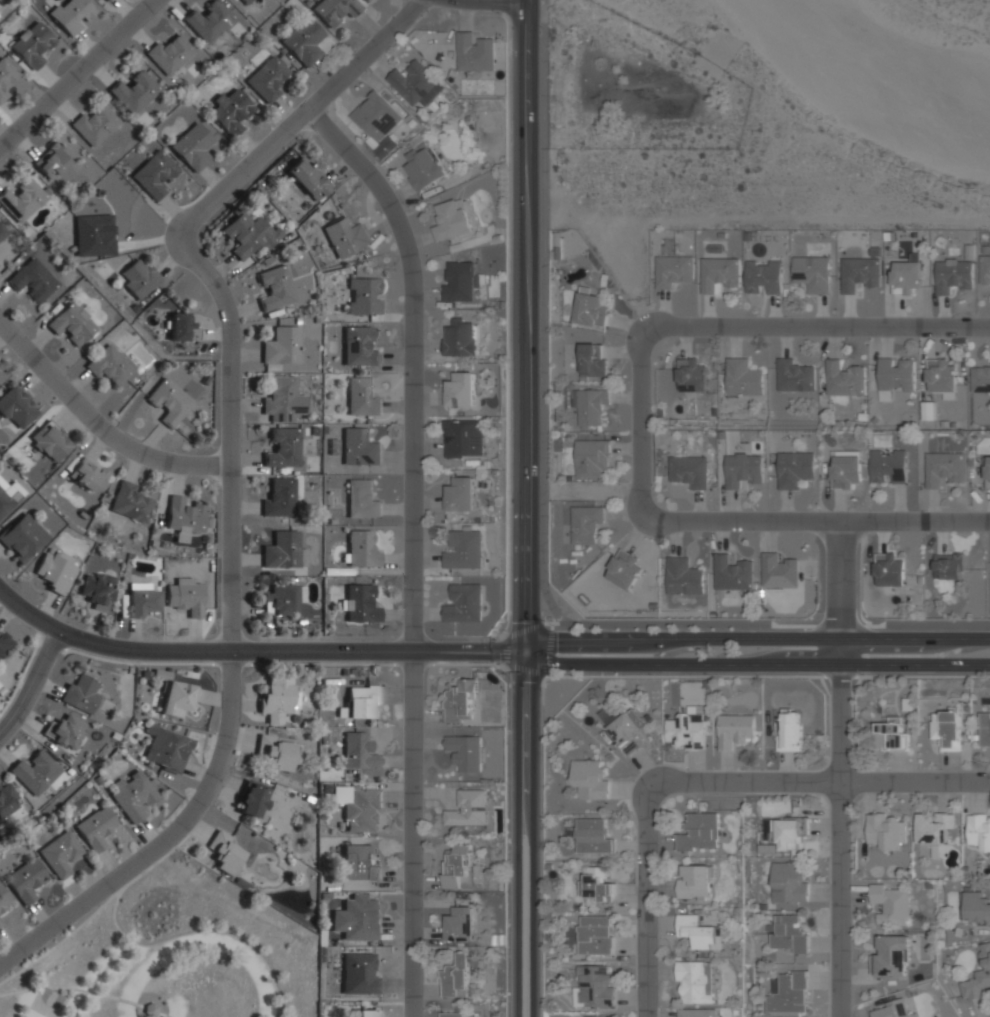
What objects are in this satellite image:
building: (107, 0)
building: (245, 2)
building: (334, 9)
building: (72, 15)
building: (208, 20)
building: (304, 41)
building: (32, 44)
building: (474, 53)
building: (169, 54)
river: (878, 58)
building: (6, 76)
road: (80, 77)
building: (268, 77)
building: (415, 84)
building: (134, 91)
building: (231, 111)
building: (377, 121)
building: (96, 124)
building: (193, 146)
building: (52, 160)
building: (424, 168)
building: (154, 174)
building: (308, 177)
building: (22, 200)
building: (451, 220)
building: (2, 232)
building: (247, 234)
building: (94, 235)
building: (346, 236)
building: (672, 270)
building: (985, 270)
building: (812, 273)
building: (859, 273)
building: (718, 274)
building: (954, 276)
building: (139, 278)
building: (763, 278)
building: (906, 278)
building: (32, 279)
building: (460, 283)
building: (275, 288)
building: (363, 296)
road: (541, 310)
building: (591, 311)
road: (506, 317)
building: (72, 322)
road: (525, 322)
building: (182, 326)
building: (460, 340)
building: (281, 345)
building: (359, 347)
building: (592, 360)
building: (111, 365)
building: (2, 374)
building: (691, 375)
building: (896, 375)
building: (794, 376)
building: (743, 377)
building: (940, 378)
building: (844, 379)
building: (980, 381)
building: (460, 389)
building: (279, 397)
building: (362, 397)
building: (169, 402)
building: (16, 407)
building: (591, 408)
road: (98, 422)
road: (641, 423)
building: (463, 439)
building: (50, 441)
building: (360, 447)
building: (283, 449)
building: (591, 458)
building: (888, 468)
building: (795, 469)
building: (943, 469)
building: (744, 470)
building: (689, 472)
building: (844, 472)
building: (987, 473)
building: (88, 474)
road: (232, 479)
building: (461, 495)
building: (279, 497)
building: (361, 499)
building: (5, 502)
building: (130, 502)
building: (184, 518)
building: (585, 524)
building: (22, 538)
road: (412, 546)
building: (362, 550)
building: (283, 551)
building: (464, 551)
building: (949, 566)
building: (623, 569)
building: (56, 570)
building: (889, 570)
building: (779, 572)
building: (732, 574)
building: (683, 576)
building: (97, 590)
road: (839, 590)
building: (186, 596)
building: (280, 600)
building: (141, 602)
building: (360, 604)
building: (464, 604)
street lamp: (822, 613)
road: (757, 635)
building: (4, 643)
traffic signals: (526, 646)
road: (254, 647)
road: (755, 661)
road: (512, 667)
street lamp: (866, 676)
road: (31, 682)
building: (80, 694)
building: (177, 699)
building: (276, 700)
building: (460, 700)
building: (364, 702)
building: (790, 729)
building: (946, 729)
building: (735, 730)
building: (66, 731)
building: (686, 731)
building: (985, 731)
building: (627, 732)
building: (890, 735)
building: (167, 748)
building: (277, 751)
building: (359, 751)
building: (464, 753)
building: (36, 773)
building: (589, 779)
road: (706, 782)
building: (132, 796)
building: (253, 799)
building: (8, 800)
building: (359, 806)
building: (468, 810)
building: (97, 827)
road: (517, 830)
road: (534, 830)
building: (936, 830)
building: (885, 831)
building: (979, 831)
building: (699, 832)
building: (784, 832)
building: (592, 836)
road: (840, 838)
building: (225, 852)
building: (60, 854)
street lamp: (659, 859)
building: (358, 863)
building: (456, 868)
building: (26, 879)
building: (694, 882)
building: (788, 882)
building: (597, 886)
building: (4, 899)
building: (891, 905)
road: (100, 907)
building: (975, 909)
building: (358, 917)
building: (1, 921)
building: (459, 924)
road: (201, 932)
building: (700, 933)
building: (595, 935)
building: (788, 935)
park: (170, 953)
building: (892, 956)
building: (359, 974)
road: (97, 976)
building: (978, 977)
building: (456, 978)
building: (695, 982)
building: (594, 987)
road: (82, 990)
building: (788, 993)
building: (49, 1002)
building: (892, 1009)
building: (697, 1012)
building: (368, 1013)
building: (459, 1014)
building: (915, 1015)

